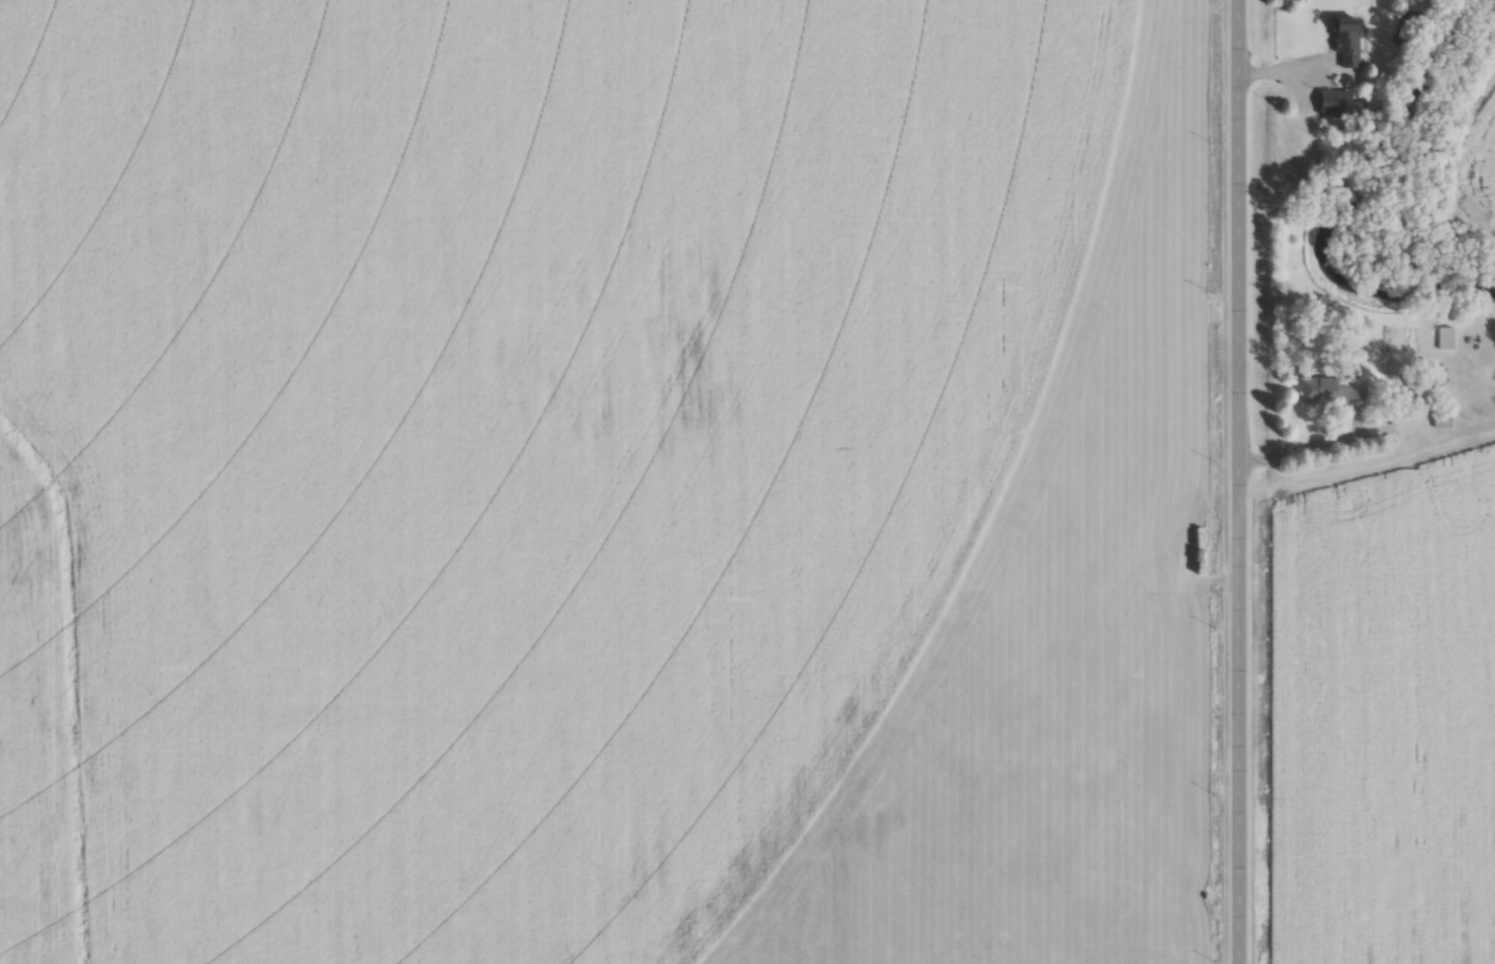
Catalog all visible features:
building: (1346, 41)
building: (1336, 103)
building: (1391, 366)
building: (1333, 390)
road: (1299, 449)
road: (1239, 482)

